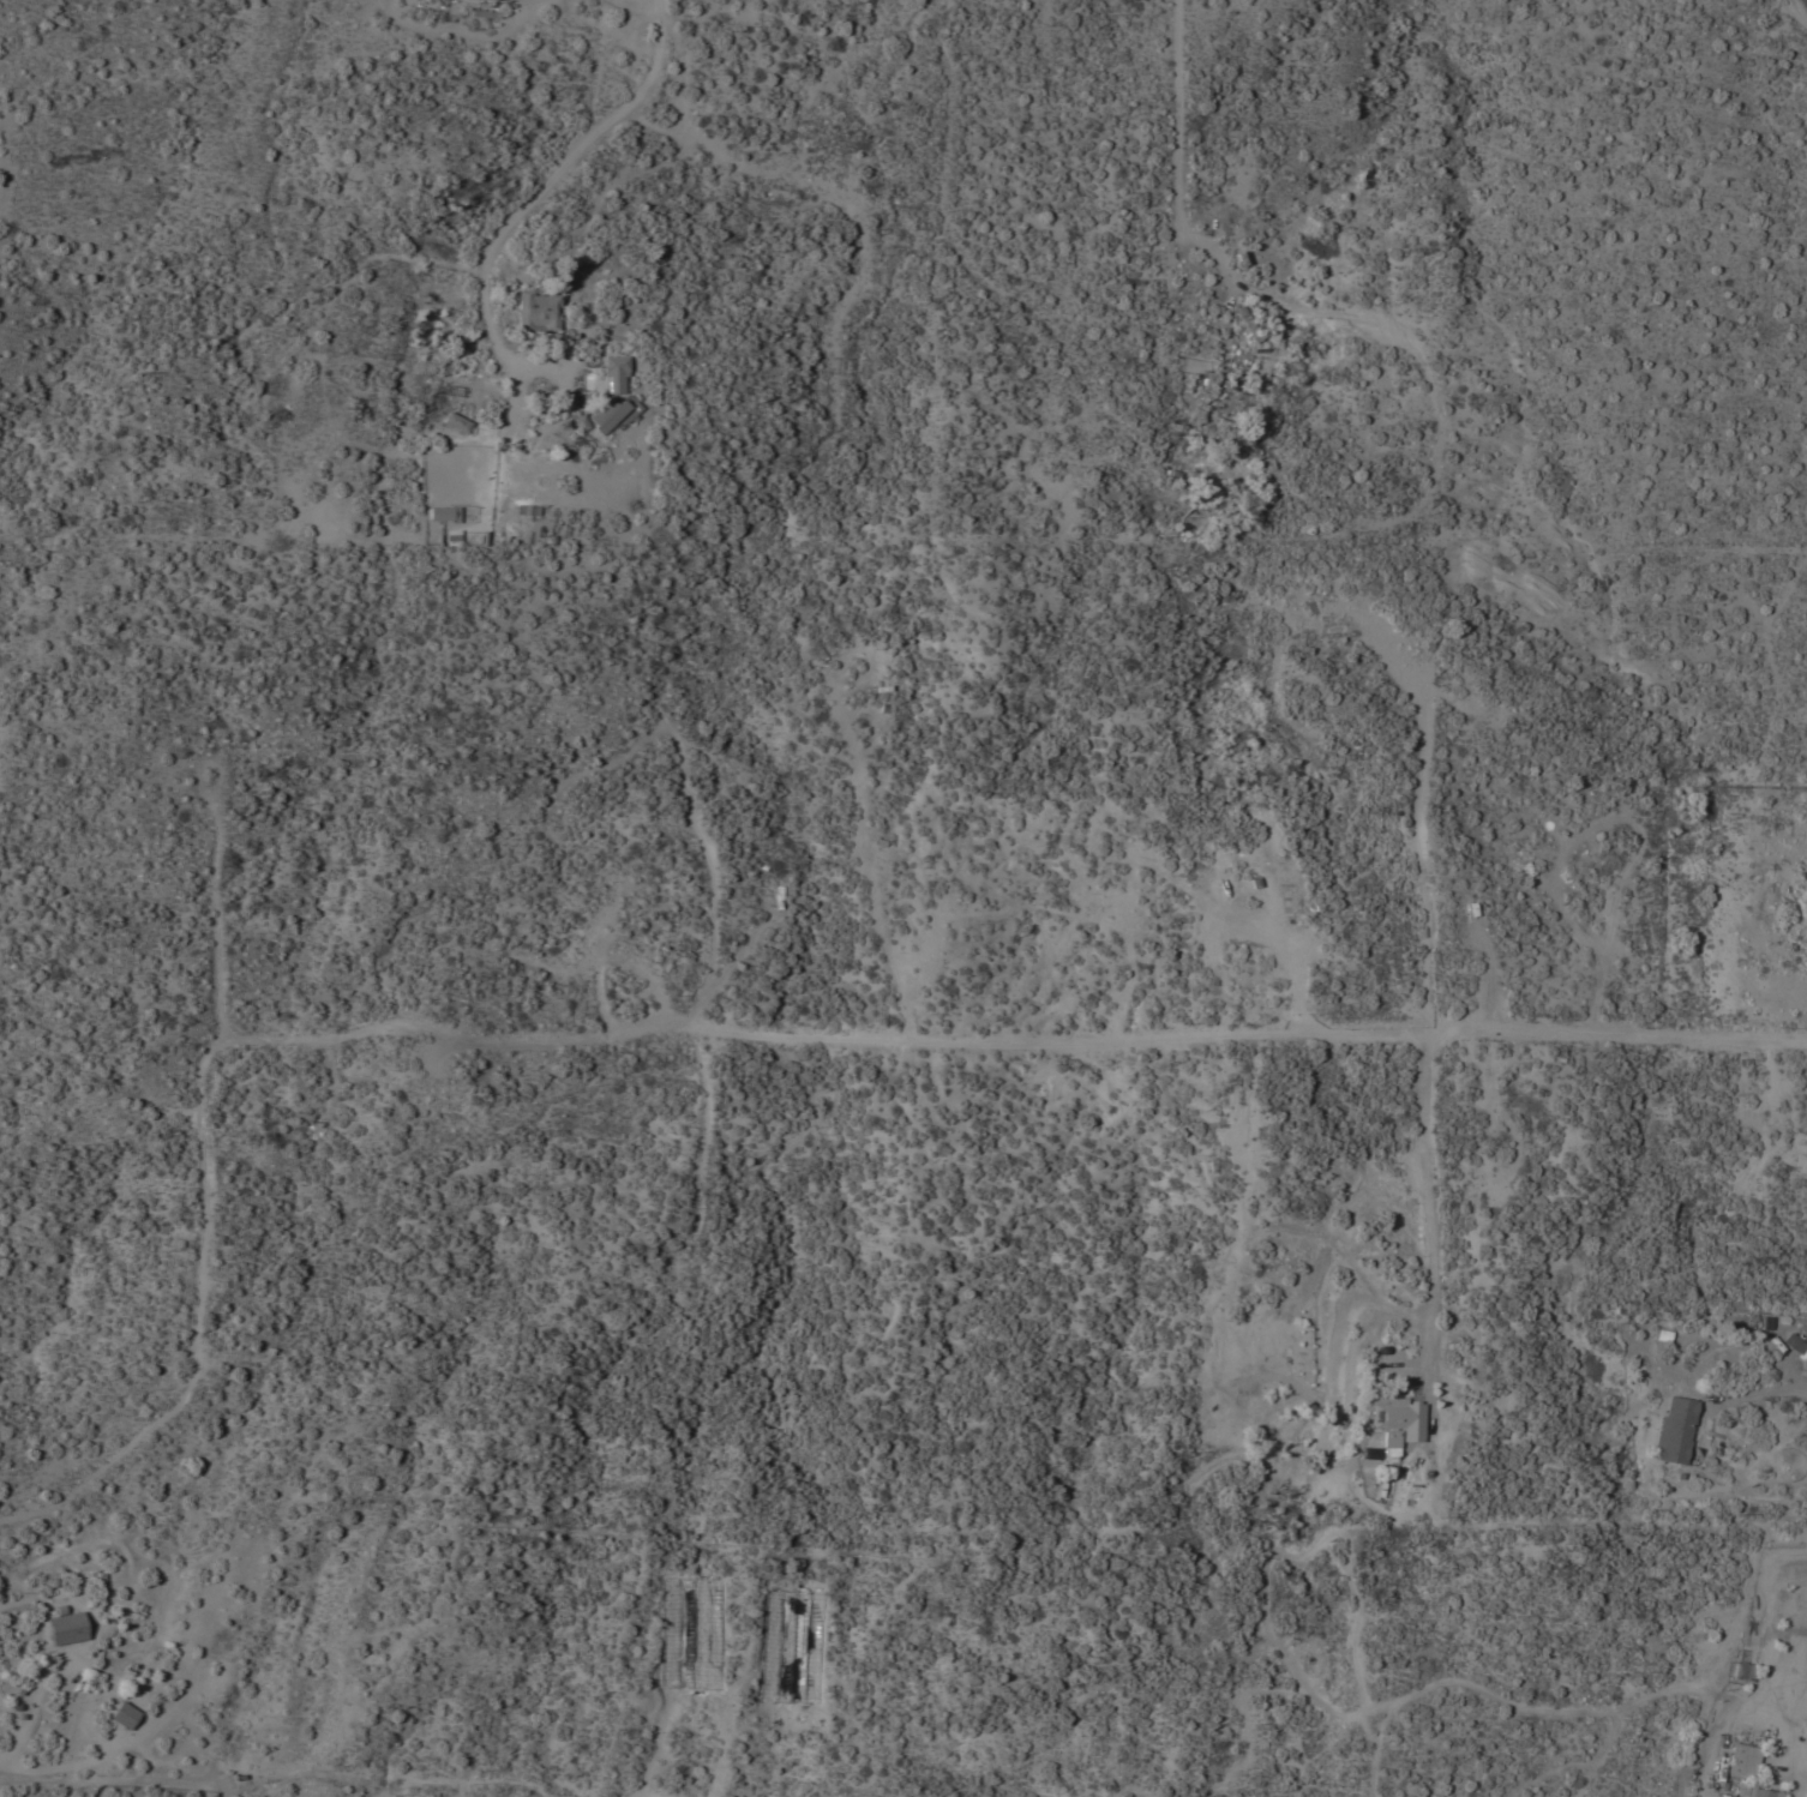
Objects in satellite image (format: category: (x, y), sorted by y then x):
building: (487, 0)
road: (1803, 2)
road: (1178, 144)
road: (517, 220)
building: (538, 311)
building: (1245, 325)
building: (606, 378)
building: (606, 415)
building: (456, 422)
building: (580, 422)
building: (527, 510)
building: (442, 513)
building: (452, 537)
road: (1617, 1034)
road: (1061, 1044)
road: (203, 1094)
road: (1429, 1210)
building: (1794, 1346)
building: (1398, 1419)
building: (1674, 1430)
building: (1388, 1440)
building: (66, 1627)
building: (1742, 1673)
building: (124, 1715)
road: (35, 1717)
building: (1742, 1761)
building: (1749, 1792)

